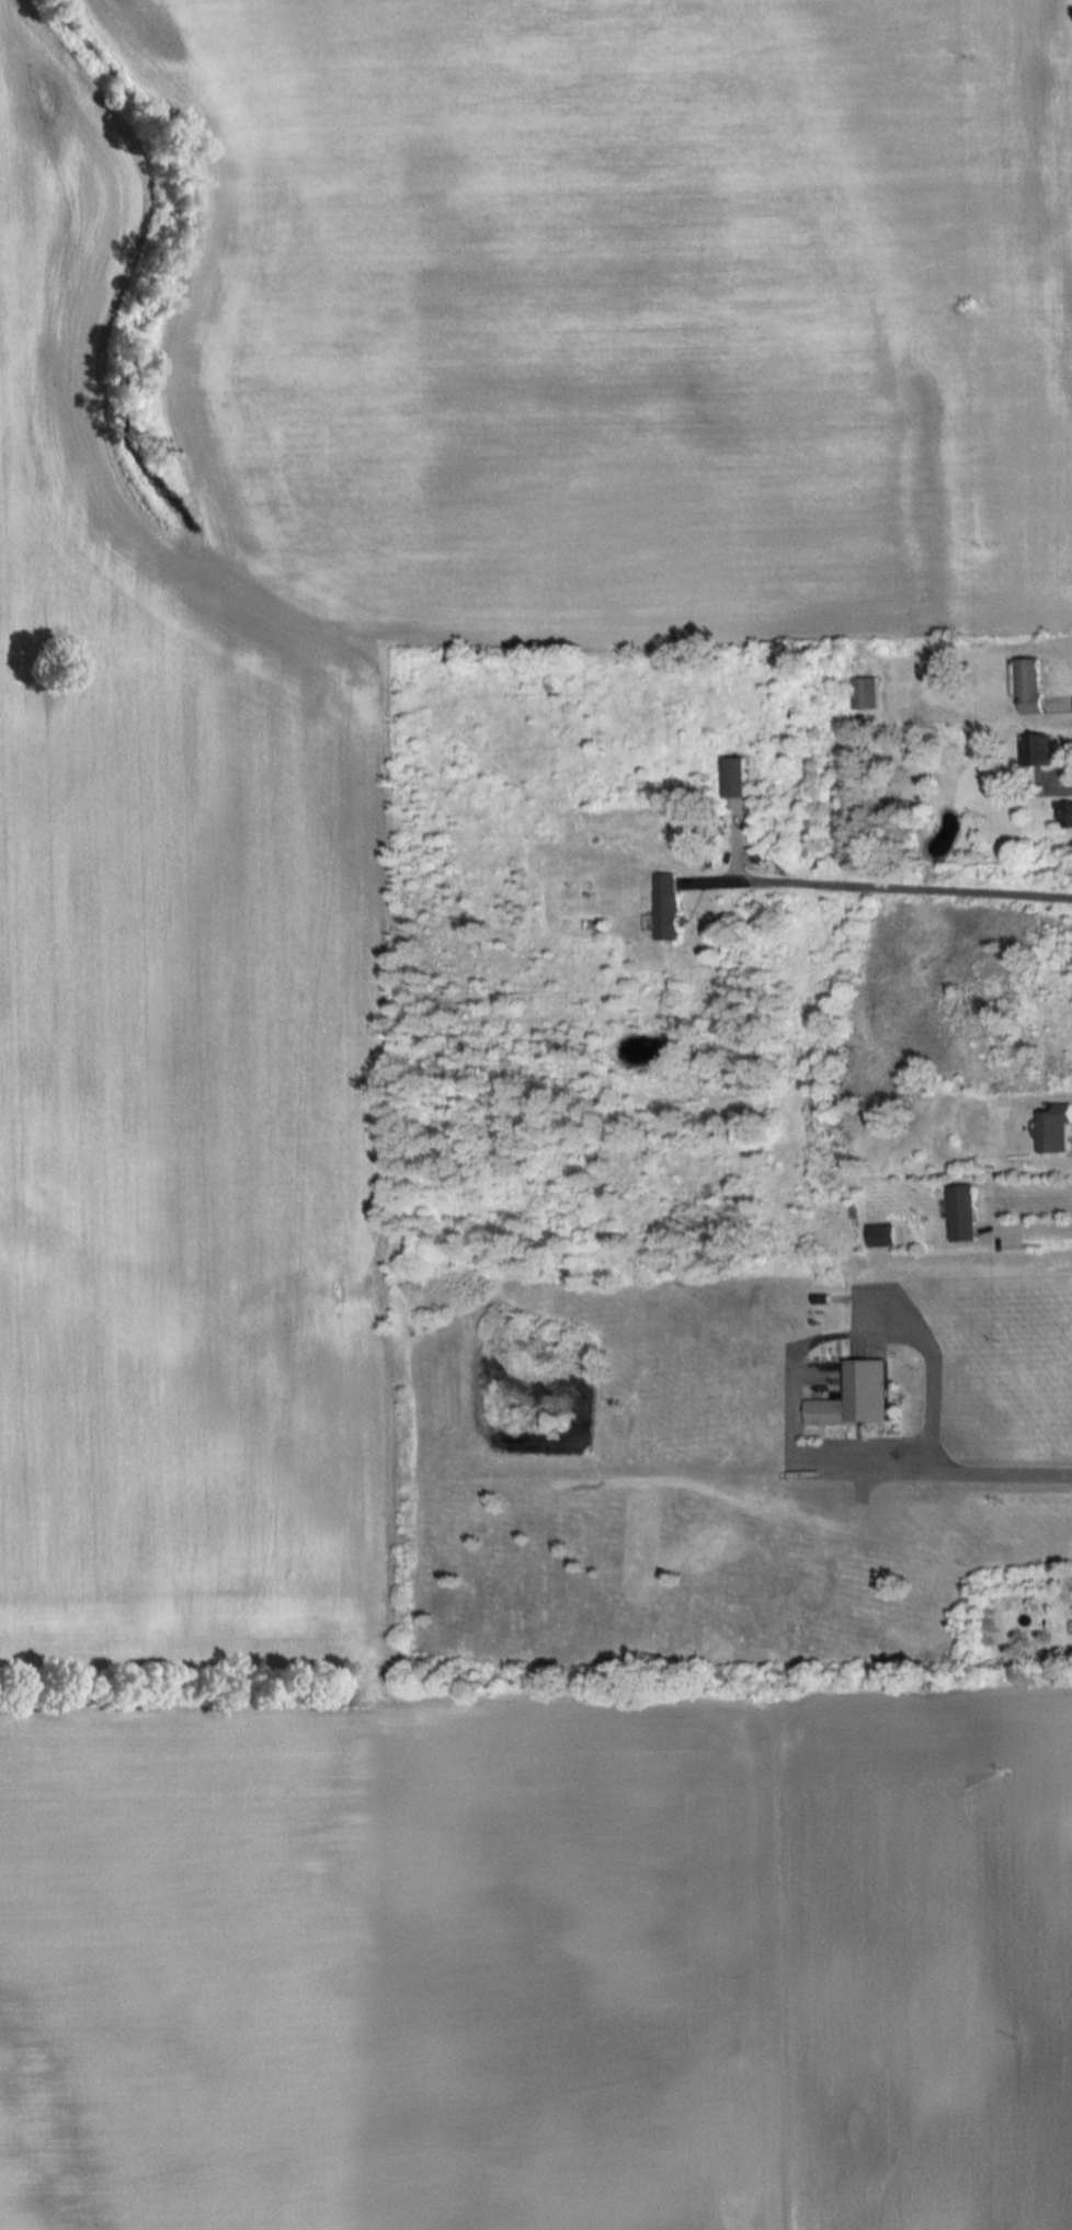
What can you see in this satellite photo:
building: (1027, 684)
building: (863, 692)
building: (1035, 749)
building: (731, 776)
building: (1067, 815)
road: (887, 886)
building: (663, 903)
building: (1051, 1129)
building: (961, 1210)
road: (1029, 1226)
building: (879, 1233)
building: (854, 1393)
road: (969, 1463)

